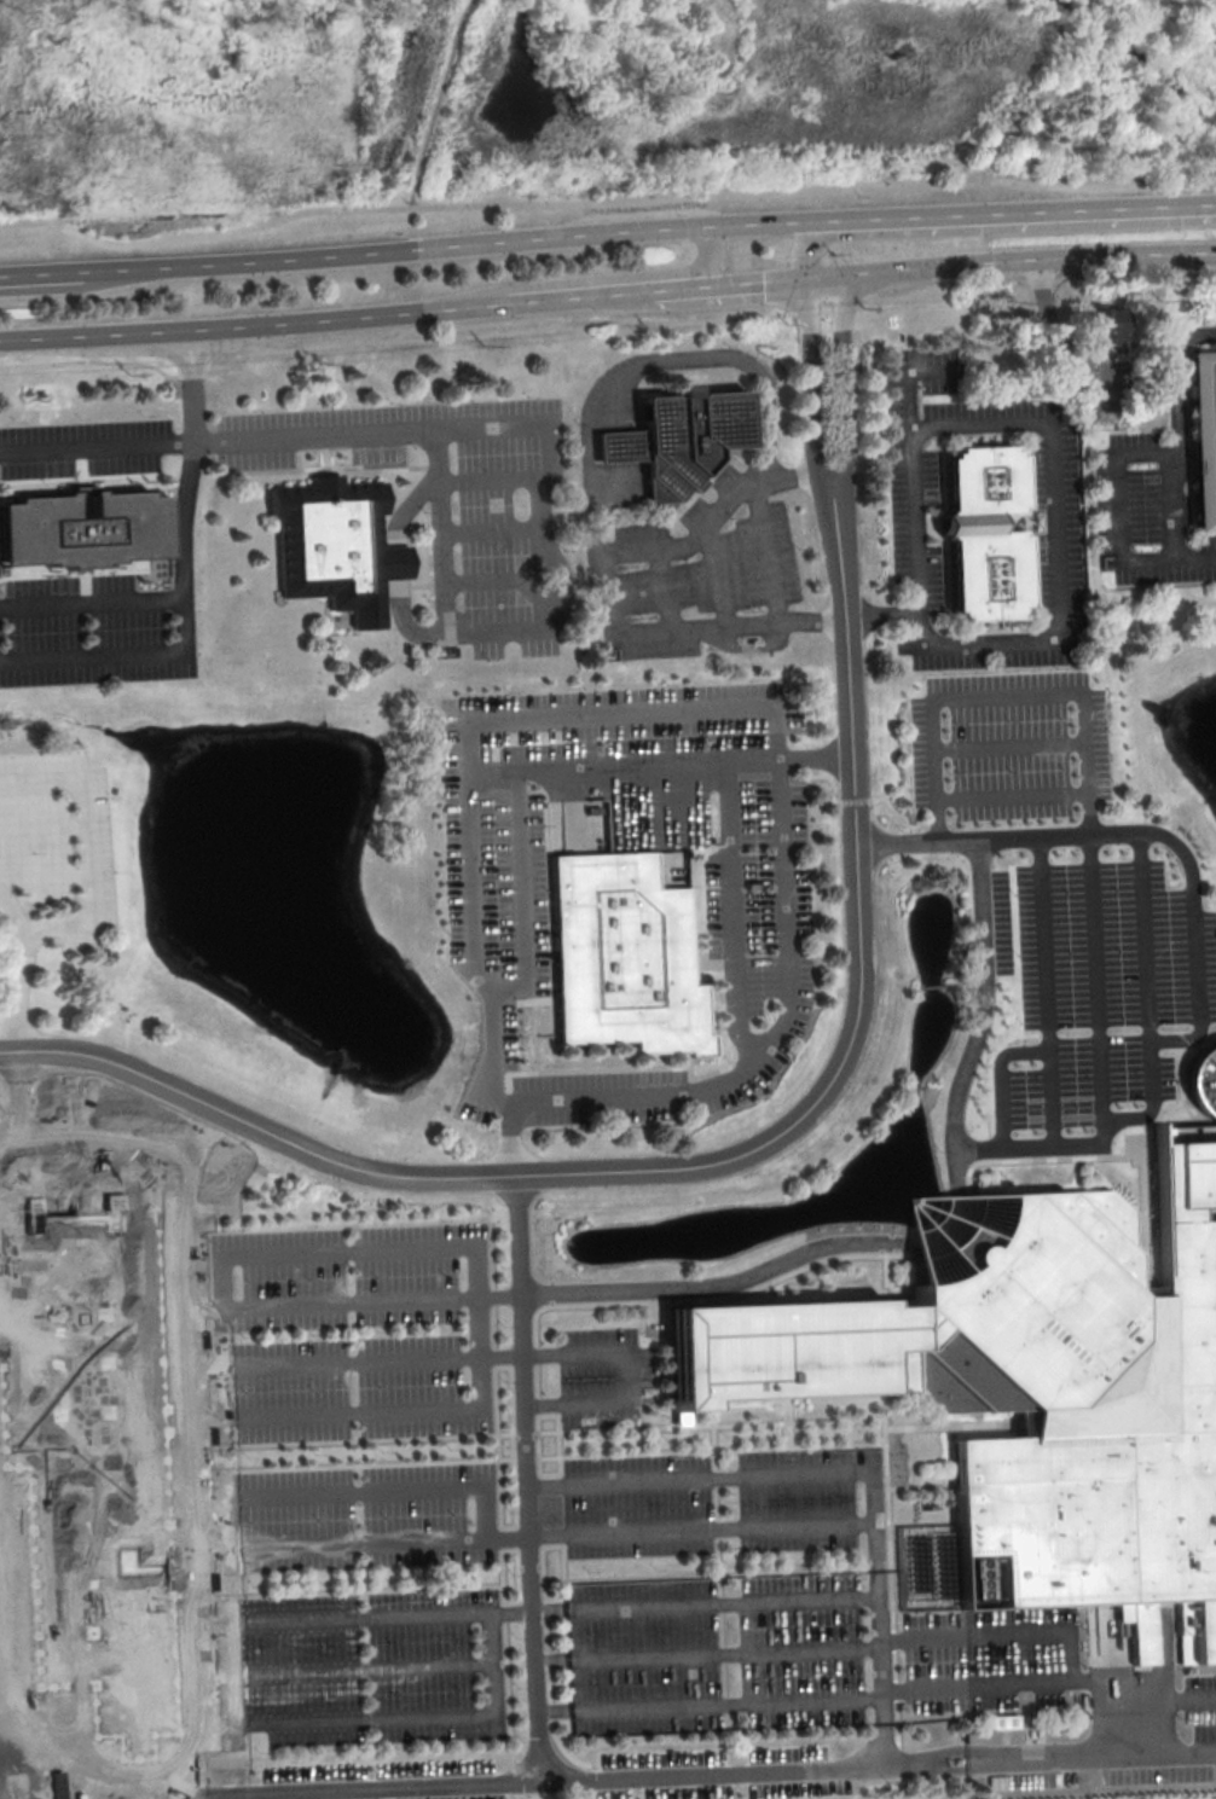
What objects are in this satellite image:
park: (937, 86)
road: (439, 101)
road: (608, 203)
road: (1021, 207)
road: (457, 243)
road: (805, 244)
road: (706, 260)
road: (1011, 260)
road: (42, 271)
traffic signals: (806, 283)
road: (729, 286)
road: (578, 297)
road: (604, 318)
road: (250, 324)
building: (1104, 332)
road: (1060, 344)
road: (1177, 379)
road: (191, 385)
road: (845, 402)
road: (812, 406)
road: (982, 423)
road: (1054, 434)
building: (671, 437)
building: (1204, 437)
parking lot: (82, 446)
road: (97, 446)
road: (589, 452)
road: (1118, 453)
road: (791, 474)
road: (538, 511)
parking lot: (1141, 513)
parking lot: (505, 517)
road: (498, 529)
building: (79, 530)
building: (984, 534)
road: (687, 542)
road: (762, 546)
building: (335, 549)
road: (1195, 557)
road: (394, 563)
road: (718, 575)
parking lot: (706, 576)
road: (664, 588)
road: (91, 602)
road: (811, 623)
parking lot: (88, 632)
road: (184, 639)
road: (621, 714)
parking lot: (1008, 743)
road: (1008, 744)
road: (817, 753)
road: (757, 756)
road: (820, 776)
road: (1011, 794)
road: (853, 800)
road: (903, 822)
road: (45, 826)
road: (1095, 835)
road: (91, 843)
road: (1087, 843)
parking lot: (57, 846)
road: (46, 876)
parking lot: (757, 904)
road: (701, 909)
road: (733, 910)
building: (621, 956)
road: (711, 963)
road: (21, 970)
road: (1193, 977)
road: (1043, 992)
parking lot: (1094, 997)
road: (1145, 998)
road: (1014, 1017)
road: (534, 1031)
road: (1026, 1034)
road: (717, 1037)
road: (730, 1044)
road: (580, 1069)
road: (17, 1087)
road: (8, 1124)
road: (1106, 1143)
road: (697, 1165)
road: (1139, 1182)
building: (942, 1224)
road: (927, 1235)
road: (812, 1263)
road: (886, 1278)
road: (390, 1302)
road: (653, 1315)
parking lot: (363, 1333)
road: (477, 1334)
road: (516, 1356)
parking lot: (606, 1376)
building: (1035, 1388)
road: (655, 1409)
road: (679, 1420)
road: (788, 1422)
road: (950, 1426)
road: (558, 1431)
road: (525, 1432)
road: (791, 1435)
road: (374, 1438)
road: (514, 1444)
building: (105, 1449)
road: (712, 1450)
road: (527, 1457)
road: (377, 1463)
road: (752, 1476)
road: (499, 1478)
road: (921, 1486)
road: (395, 1488)
parking lot: (716, 1501)
road: (717, 1501)
parking lot: (366, 1516)
road: (705, 1530)
road: (533, 1538)
road: (393, 1540)
road: (563, 1553)
road: (728, 1573)
road: (519, 1574)
road: (375, 1590)
road: (562, 1597)
road: (723, 1601)
road: (411, 1613)
road: (1061, 1632)
road: (723, 1640)
road: (882, 1646)
road: (896, 1646)
road: (725, 1652)
parking lot: (717, 1653)
road: (552, 1658)
parking lot: (372, 1667)
road: (375, 1667)
road: (548, 1672)
road: (978, 1684)
road: (1174, 1698)
road: (728, 1702)
road: (555, 1708)
road: (428, 1718)
building: (1004, 1720)
road: (885, 1742)
road: (1090, 1758)
road: (925, 1762)
parking lot: (719, 1774)
road: (901, 1780)
parking lot: (381, 1781)
road: (432, 1787)

